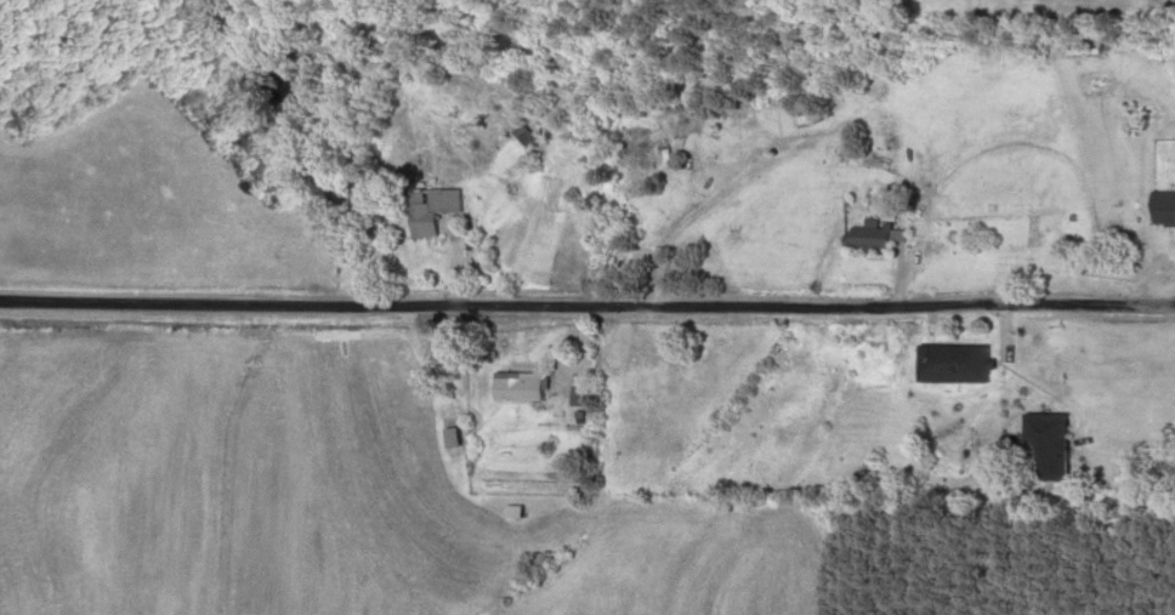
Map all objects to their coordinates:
building: (1095, 51)
building: (761, 139)
building: (1169, 207)
building: (442, 210)
building: (876, 235)
road: (586, 329)
building: (963, 363)
building: (528, 385)
building: (460, 435)
building: (1060, 448)

